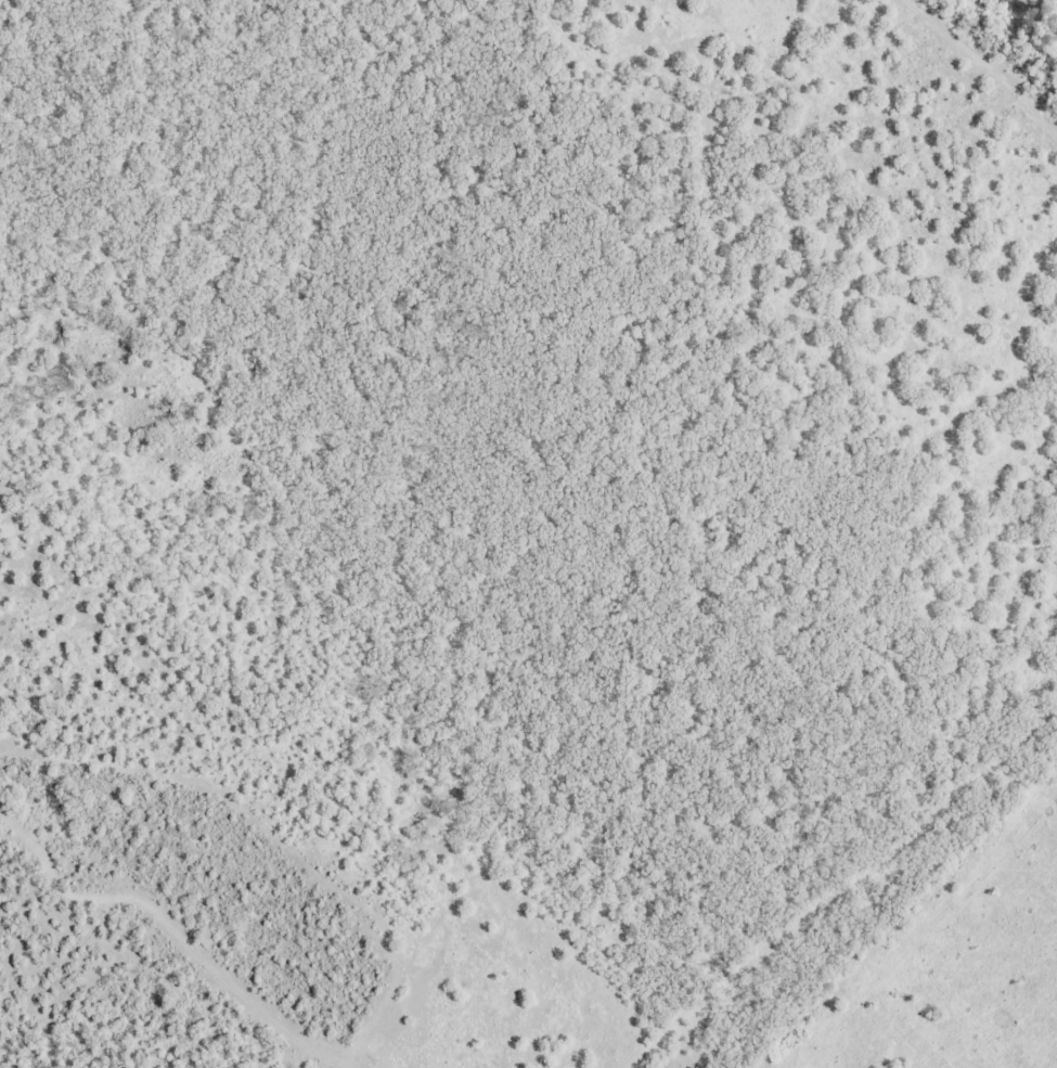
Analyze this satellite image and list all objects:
road: (842, 0)

